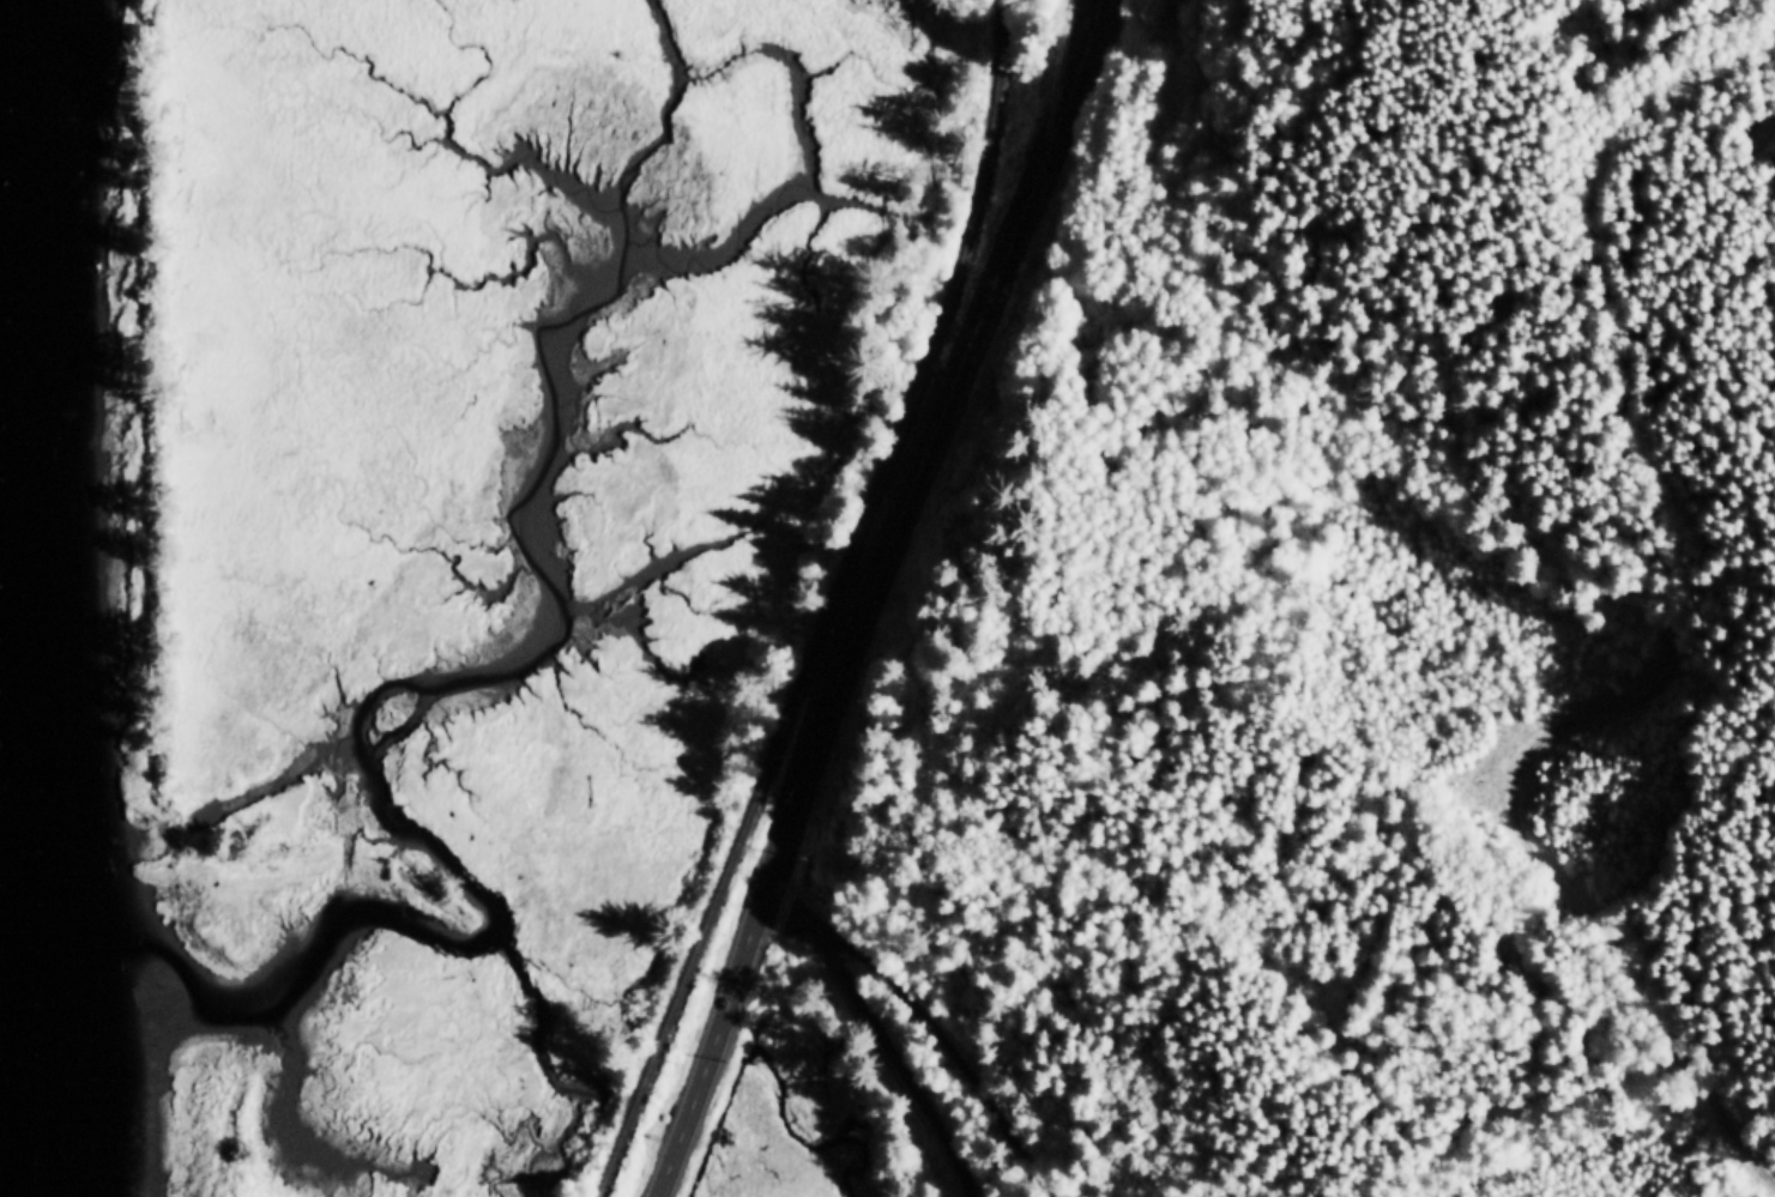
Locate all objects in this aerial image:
road: (997, 261)
railway: (828, 605)
road: (1674, 625)
road: (774, 858)
road: (934, 1034)
road: (870, 1035)

